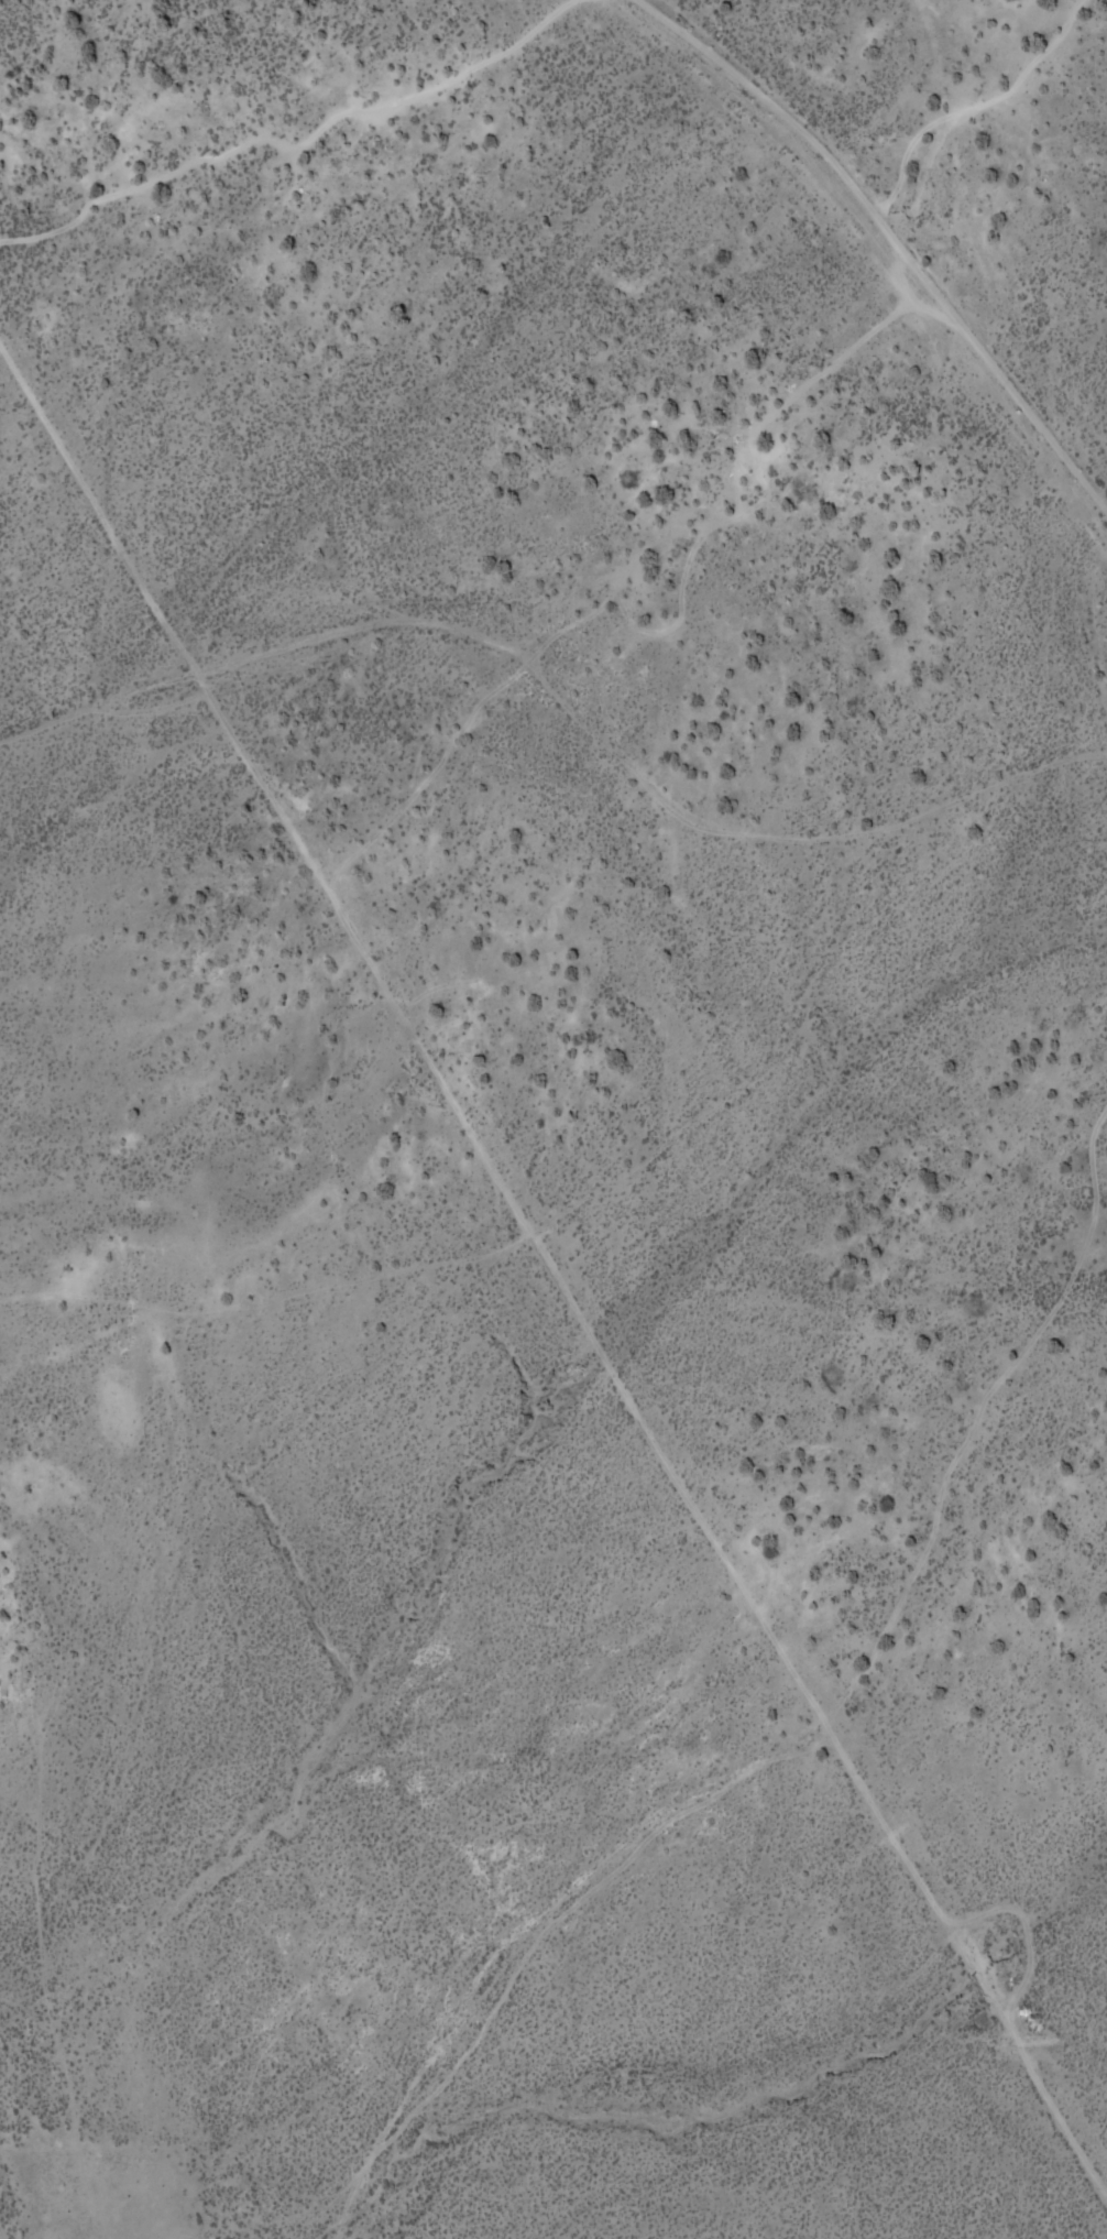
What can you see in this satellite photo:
road: (745, 139)
road: (907, 272)
road: (537, 749)

